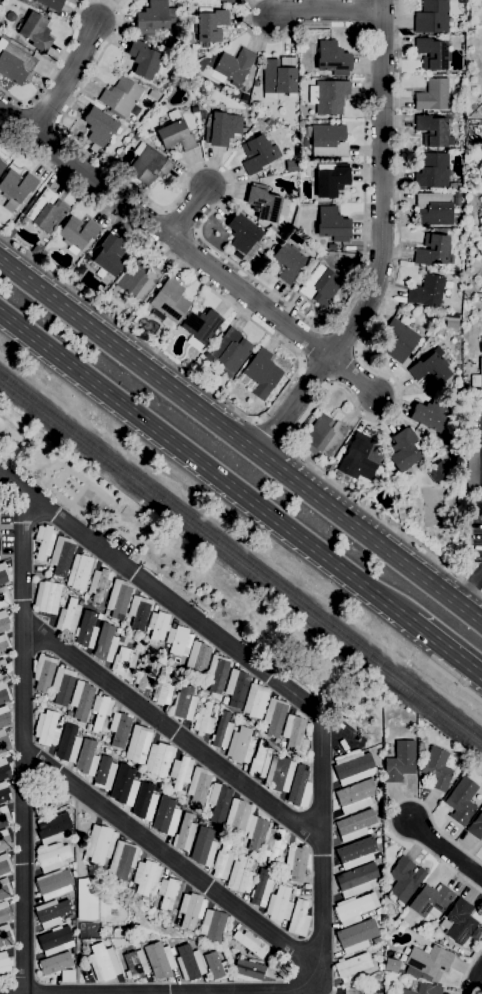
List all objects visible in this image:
building: (231, 0)
building: (23, 1)
building: (225, 1)
building: (461, 2)
building: (481, 3)
building: (49, 4)
road: (326, 11)
building: (10, 17)
building: (432, 17)
building: (154, 18)
building: (210, 26)
building: (36, 32)
building: (481, 47)
building: (432, 54)
building: (332, 59)
building: (143, 60)
building: (15, 64)
road: (54, 65)
building: (233, 67)
building: (279, 76)
road: (66, 78)
building: (256, 84)
building: (433, 95)
building: (121, 97)
building: (328, 97)
building: (473, 107)
building: (99, 128)
building: (222, 129)
building: (432, 131)
building: (175, 134)
building: (136, 137)
building: (327, 140)
building: (258, 154)
building: (147, 165)
building: (291, 166)
building: (2, 167)
building: (432, 171)
building: (331, 181)
road: (381, 186)
building: (455, 186)
building: (16, 188)
building: (469, 191)
building: (263, 203)
building: (435, 210)
building: (46, 212)
road: (189, 212)
building: (332, 225)
building: (273, 231)
building: (77, 233)
road: (165, 233)
building: (242, 234)
building: (433, 251)
building: (42, 256)
building: (109, 256)
building: (288, 262)
building: (137, 280)
building: (320, 285)
road: (264, 286)
building: (427, 291)
building: (478, 295)
building: (169, 303)
building: (470, 318)
building: (200, 328)
building: (397, 340)
building: (156, 345)
building: (481, 346)
building: (229, 353)
road: (300, 369)
building: (430, 371)
building: (260, 375)
road: (352, 377)
building: (477, 377)
road: (399, 393)
road: (294, 406)
building: (429, 415)
road: (272, 431)
building: (322, 436)
road: (241, 440)
building: (403, 450)
building: (359, 457)
building: (472, 458)
building: (325, 466)
building: (331, 467)
road: (204, 471)
building: (438, 471)
parking lot: (475, 534)
building: (44, 541)
railway: (241, 553)
building: (61, 556)
road: (11, 557)
railway: (241, 563)
building: (79, 572)
building: (4, 574)
building: (99, 584)
road: (468, 587)
road: (160, 594)
building: (4, 597)
building: (47, 597)
building: (118, 599)
building: (139, 614)
building: (99, 617)
building: (68, 619)
building: (3, 622)
building: (157, 627)
building: (86, 630)
building: (118, 631)
building: (121, 640)
building: (179, 641)
building: (105, 644)
building: (4, 645)
road: (445, 654)
building: (197, 657)
building: (123, 664)
building: (4, 670)
building: (44, 673)
building: (217, 674)
building: (144, 675)
road: (455, 681)
building: (62, 686)
building: (236, 688)
building: (162, 689)
building: (4, 694)
building: (45, 697)
building: (80, 701)
building: (225, 701)
building: (255, 701)
building: (184, 704)
building: (100, 711)
building: (4, 717)
building: (274, 717)
building: (244, 719)
building: (203, 720)
building: (46, 729)
building: (119, 729)
building: (222, 732)
building: (294, 735)
building: (422, 737)
road: (22, 741)
building: (4, 744)
building: (68, 745)
building: (138, 745)
building: (281, 745)
building: (421, 745)
building: (241, 746)
building: (420, 751)
building: (87, 759)
building: (158, 760)
building: (259, 760)
building: (400, 762)
building: (353, 768)
building: (4, 769)
building: (437, 769)
road: (223, 770)
building: (104, 774)
building: (180, 774)
building: (279, 775)
road: (320, 779)
building: (124, 786)
building: (198, 787)
building: (298, 787)
building: (4, 792)
building: (355, 796)
building: (185, 801)
building: (461, 801)
building: (144, 802)
building: (219, 802)
road: (390, 814)
building: (4, 817)
building: (236, 818)
building: (166, 821)
building: (355, 826)
building: (476, 827)
building: (53, 828)
building: (255, 833)
building: (184, 834)
building: (4, 840)
building: (100, 844)
building: (275, 845)
building: (203, 847)
road: (446, 850)
building: (351, 855)
building: (52, 857)
building: (123, 859)
road: (172, 860)
building: (222, 862)
building: (295, 863)
building: (4, 865)
building: (241, 875)
building: (285, 876)
building: (146, 878)
building: (404, 879)
building: (357, 880)
building: (54, 884)
building: (4, 890)
building: (260, 890)
building: (132, 891)
road: (77, 892)
building: (297, 892)
building: (167, 893)
building: (87, 899)
building: (431, 901)
building: (279, 905)
building: (354, 908)
building: (191, 910)
building: (153, 911)
building: (4, 913)
building: (52, 913)
building: (299, 919)
building: (73, 923)
building: (458, 923)
building: (213, 926)
building: (476, 934)
building: (5, 936)
building: (355, 936)
building: (56, 941)
building: (249, 944)
building: (159, 960)
building: (103, 963)
building: (189, 963)
building: (426, 963)
building: (56, 964)
building: (135, 965)
building: (391, 965)
building: (4, 966)
building: (216, 967)
building: (351, 967)
building: (380, 967)
road: (467, 969)
building: (281, 970)
building: (247, 971)
building: (271, 972)
building: (67, 977)
road: (478, 983)
building: (422, 989)
road: (247, 992)

